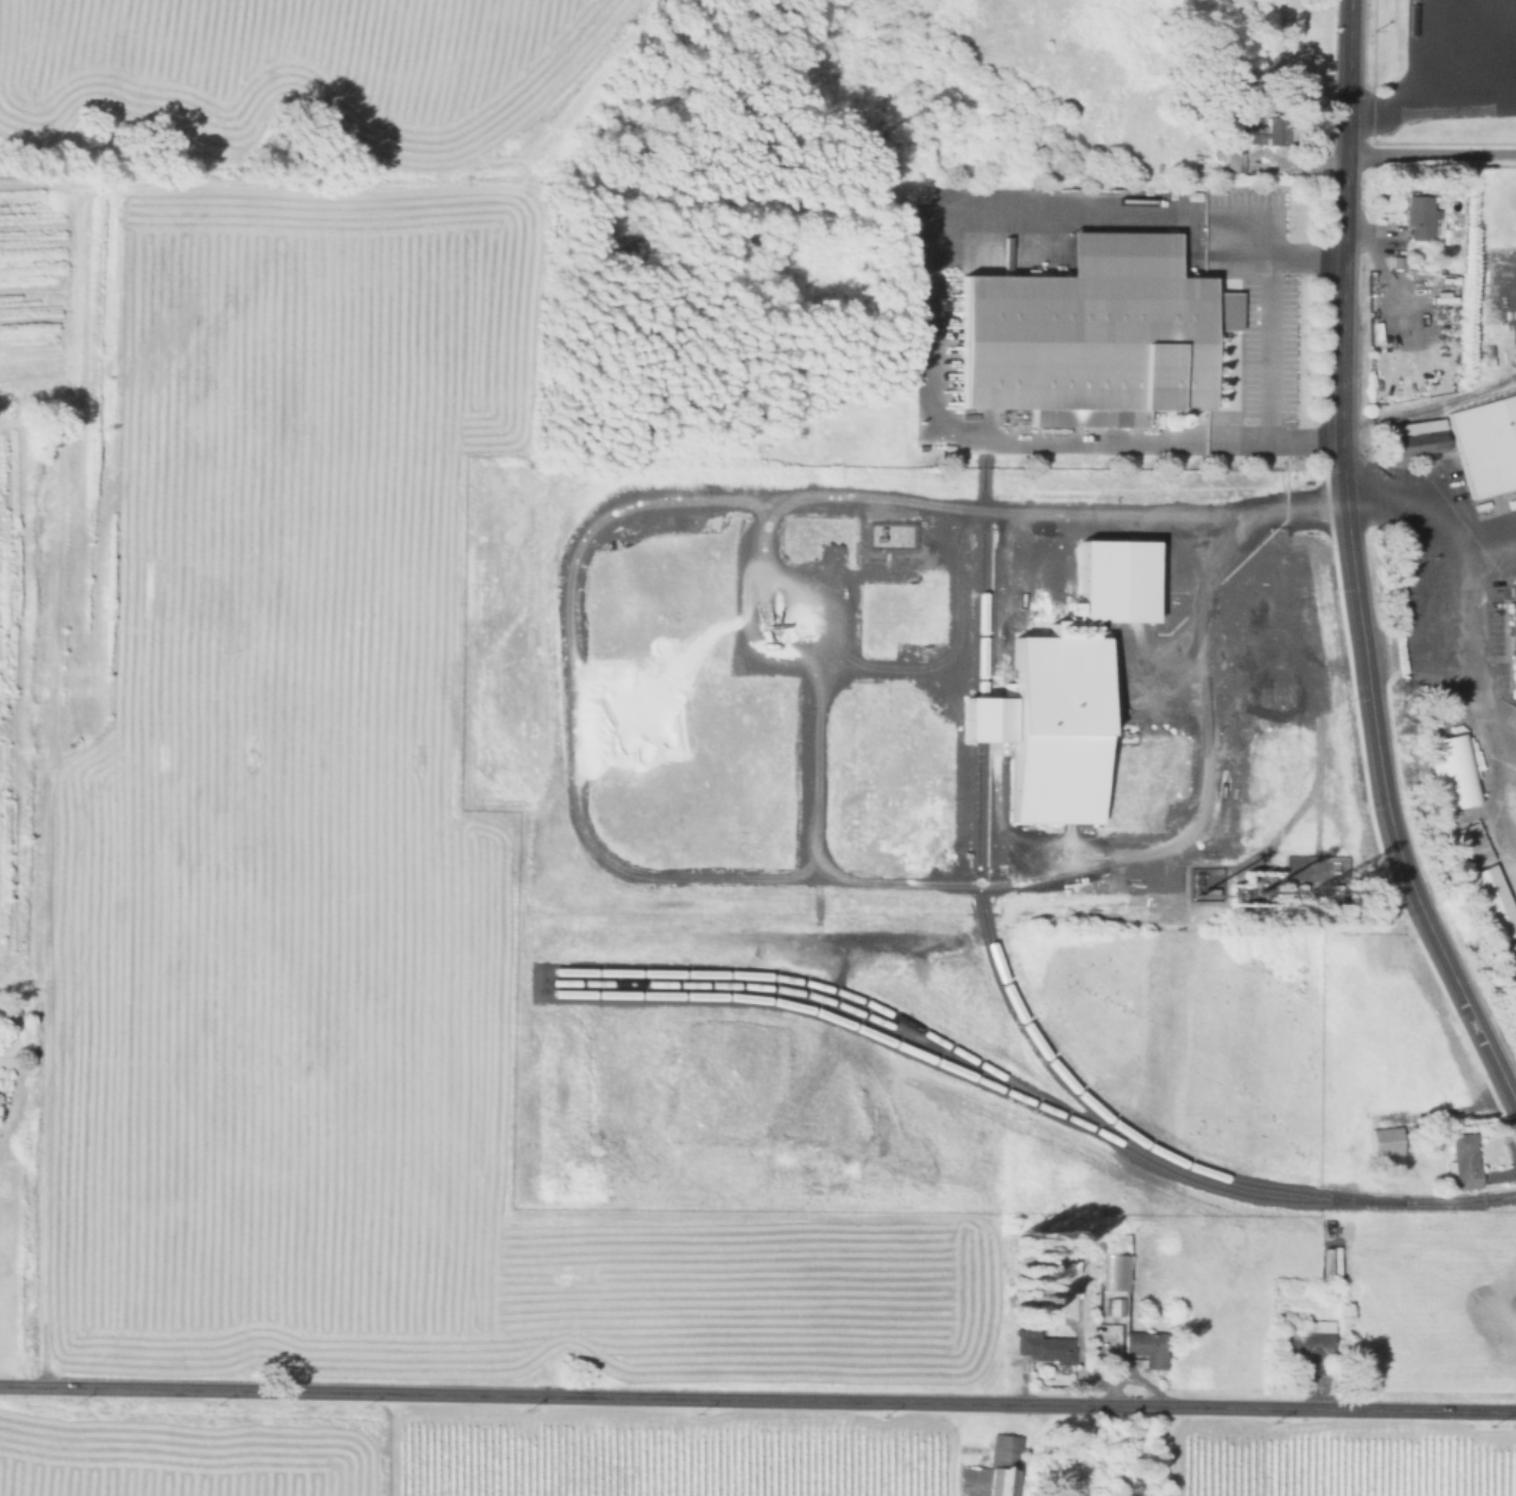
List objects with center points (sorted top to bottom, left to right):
road: (1460, 40)
crop: (290, 87)
road: (1430, 90)
road: (1431, 157)
building: (1418, 210)
building: (1396, 271)
road: (936, 318)
building: (1091, 330)
road: (1267, 348)
building: (1417, 443)
building: (1486, 444)
road: (1400, 506)
road: (1483, 532)
road: (1354, 566)
building: (1117, 590)
building: (1512, 591)
building: (1414, 619)
railway: (979, 620)
building: (1513, 639)
road: (1475, 652)
railway: (980, 729)
road: (1226, 729)
building: (1050, 731)
crop: (327, 829)
building: (1473, 853)
building: (1493, 902)
railway: (757, 982)
railway: (844, 1019)
railway: (985, 1064)
railway: (1116, 1122)
building: (1384, 1142)
building: (1464, 1162)
building: (1031, 1266)
building: (1310, 1344)
building: (1041, 1347)
building: (1144, 1350)
road: (758, 1399)
crop: (458, 1454)
crop: (1343, 1460)
building: (992, 1470)
building: (1135, 1485)

